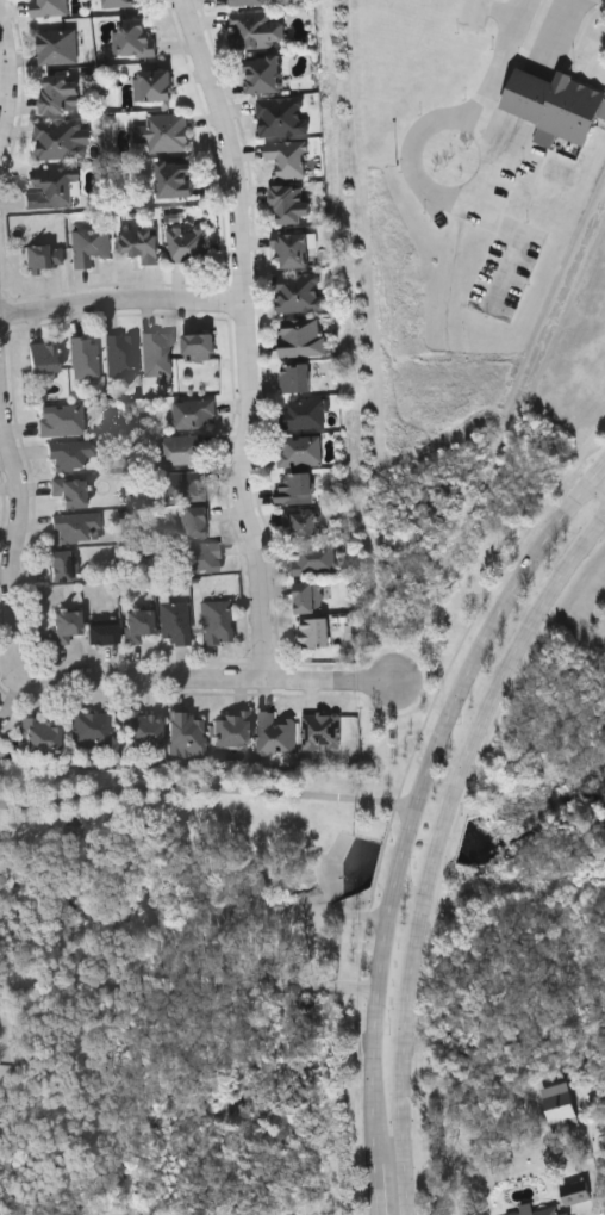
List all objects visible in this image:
building: (117, 2)
building: (248, 2)
building: (48, 7)
road: (561, 30)
building: (256, 31)
building: (132, 39)
building: (57, 45)
building: (263, 74)
building: (152, 85)
road: (8, 87)
building: (58, 93)
building: (555, 106)
building: (281, 116)
building: (163, 132)
building: (61, 138)
road: (451, 157)
building: (287, 159)
building: (175, 180)
building: (52, 188)
building: (289, 204)
building: (141, 244)
building: (186, 244)
building: (88, 246)
building: (292, 250)
building: (43, 258)
building: (298, 291)
road: (121, 300)
road: (249, 337)
building: (301, 337)
building: (199, 346)
building: (157, 352)
building: (120, 354)
building: (43, 357)
building: (83, 357)
building: (294, 376)
building: (193, 413)
building: (302, 414)
building: (61, 421)
building: (182, 448)
building: (299, 450)
building: (70, 453)
road: (603, 461)
road: (603, 465)
building: (185, 485)
building: (294, 486)
building: (70, 491)
building: (197, 521)
building: (301, 522)
building: (76, 527)
building: (199, 557)
building: (312, 559)
building: (62, 565)
building: (307, 596)
road: (18, 621)
building: (174, 621)
building: (216, 621)
building: (64, 624)
building: (137, 624)
building: (313, 631)
building: (101, 632)
road: (338, 680)
building: (92, 727)
building: (141, 727)
building: (231, 727)
building: (320, 730)
building: (0, 732)
building: (274, 732)
building: (42, 733)
building: (186, 733)
road: (204, 788)
road: (414, 789)
road: (437, 845)
road: (188, 986)
building: (560, 1106)
road: (379, 1189)
building: (576, 1192)
building: (545, 1213)

